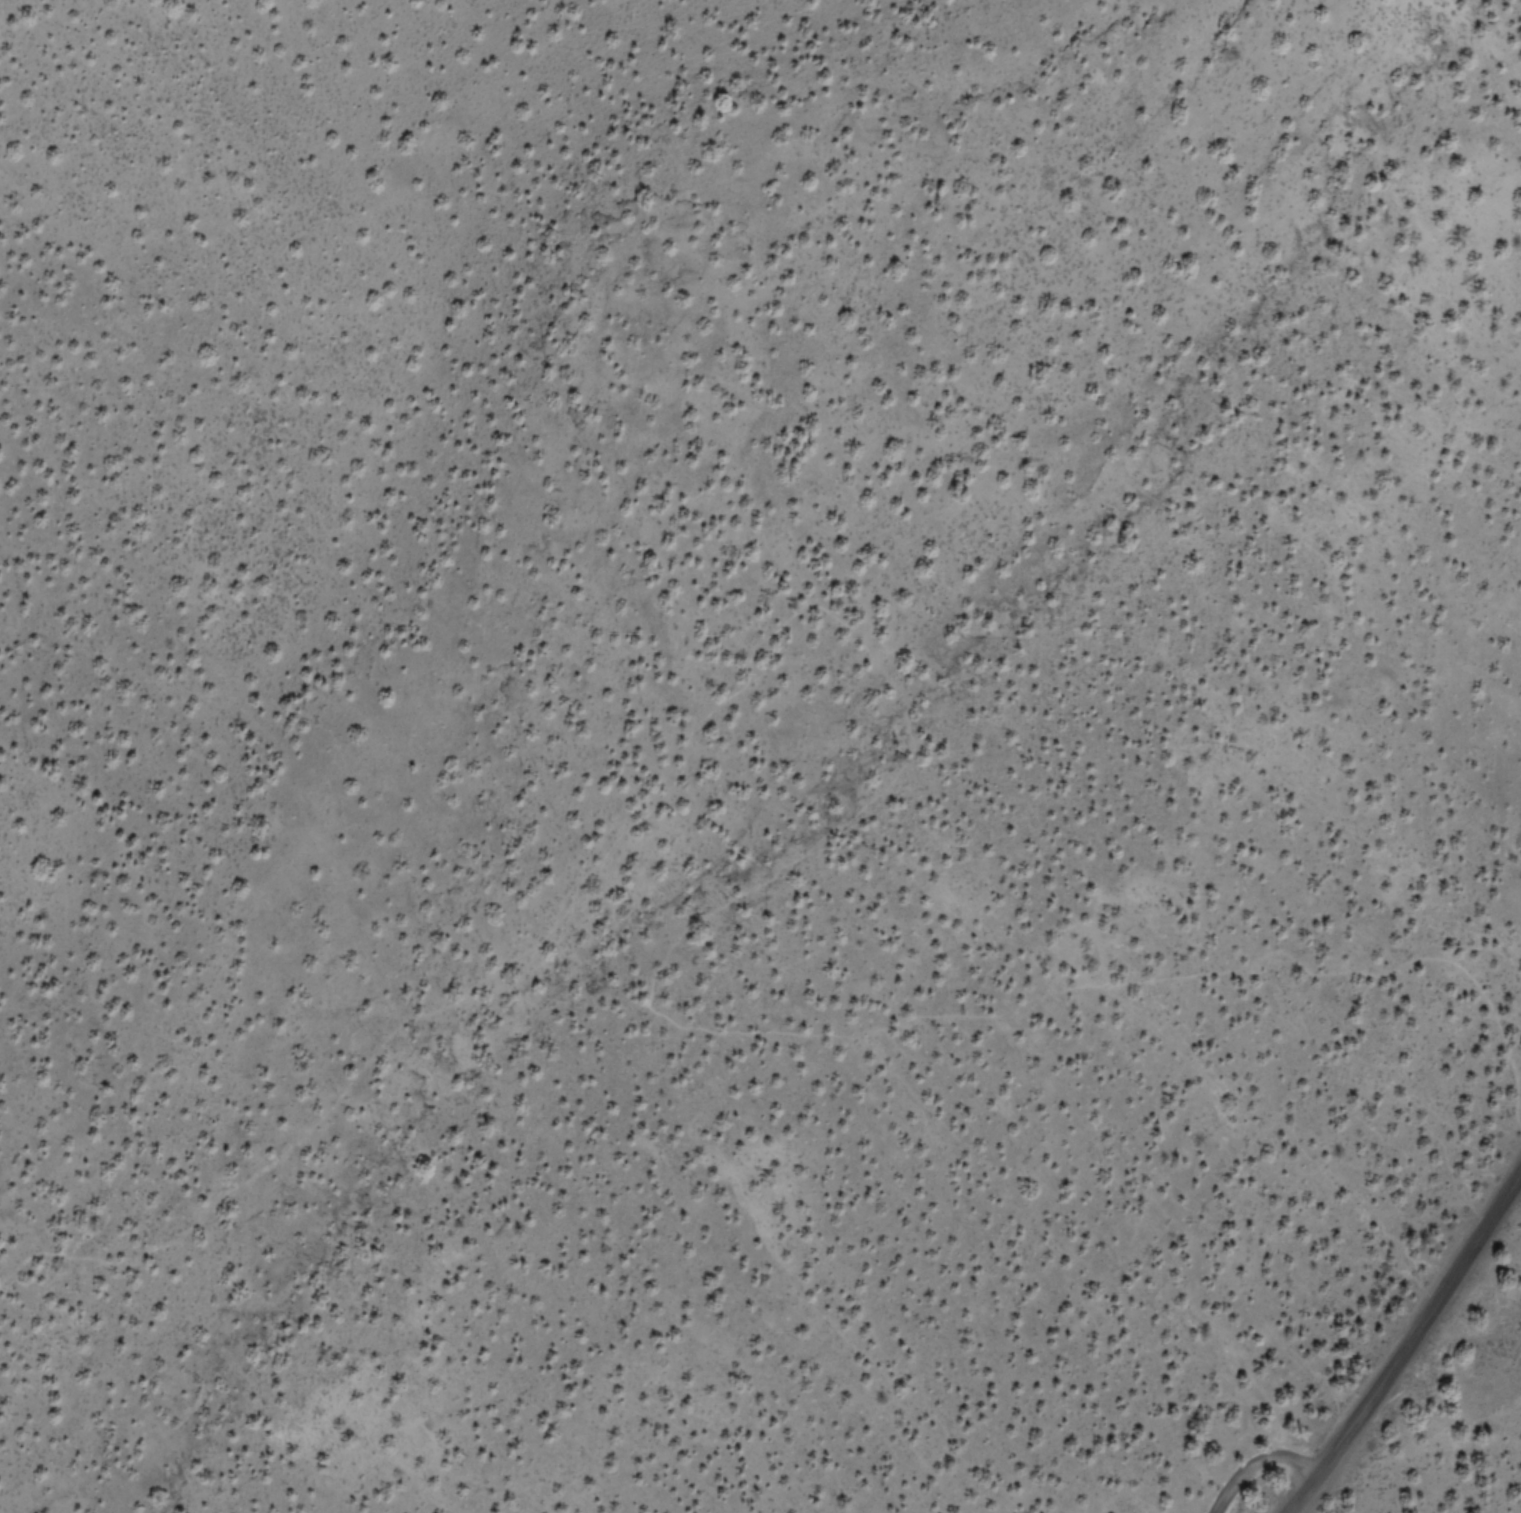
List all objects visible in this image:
road: (1406, 1348)
road: (1254, 1461)

